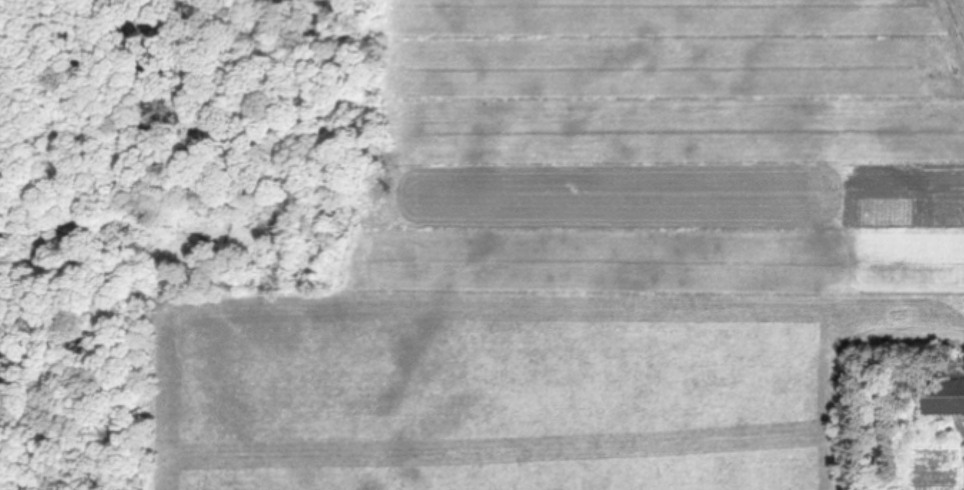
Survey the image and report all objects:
building: (943, 399)

